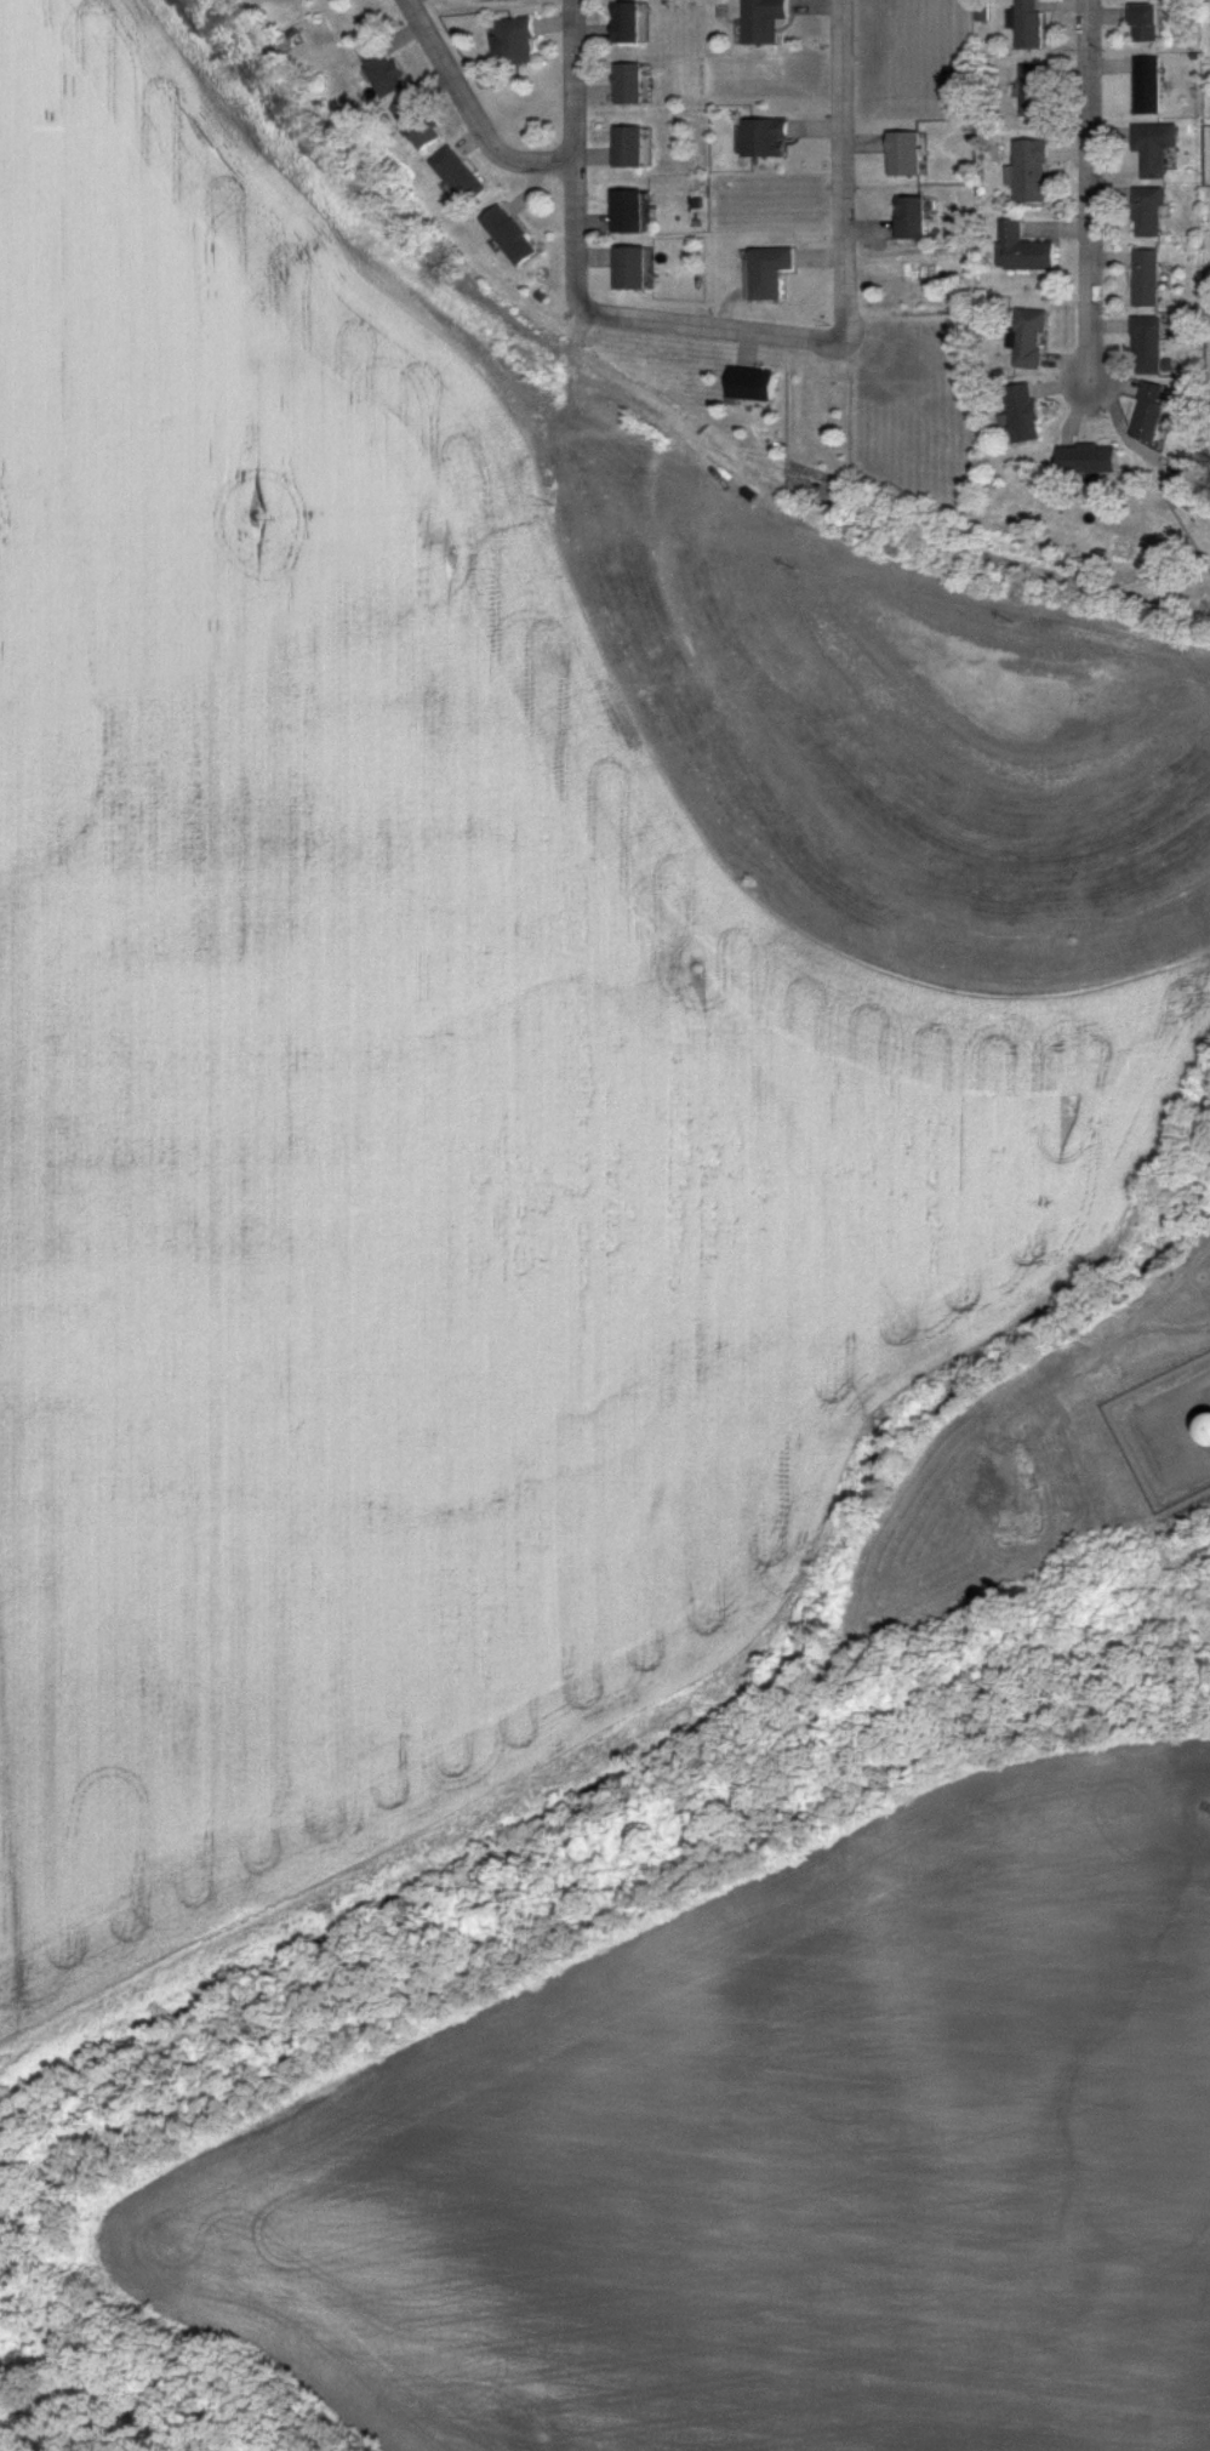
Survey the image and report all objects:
building: (306, 0)
building: (761, 21)
building: (623, 23)
building: (1028, 24)
building: (1142, 24)
building: (514, 42)
building: (379, 69)
building: (626, 85)
building: (1146, 86)
building: (1034, 91)
road: (470, 112)
building: (415, 124)
building: (764, 138)
building: (626, 148)
building: (1151, 150)
road: (575, 152)
building: (902, 155)
road: (1090, 166)
building: (1029, 171)
building: (456, 176)
building: (626, 212)
building: (1146, 213)
building: (908, 218)
building: (507, 236)
building: (1022, 250)
building: (628, 269)
building: (767, 273)
building: (1146, 279)
road: (844, 297)
building: (1029, 340)
building: (1146, 346)
road: (1075, 383)
building: (749, 386)
building: (1022, 414)
building: (1148, 414)
building: (1086, 461)
crop: (475, 1033)
building: (1203, 1427)
crop: (766, 2159)

